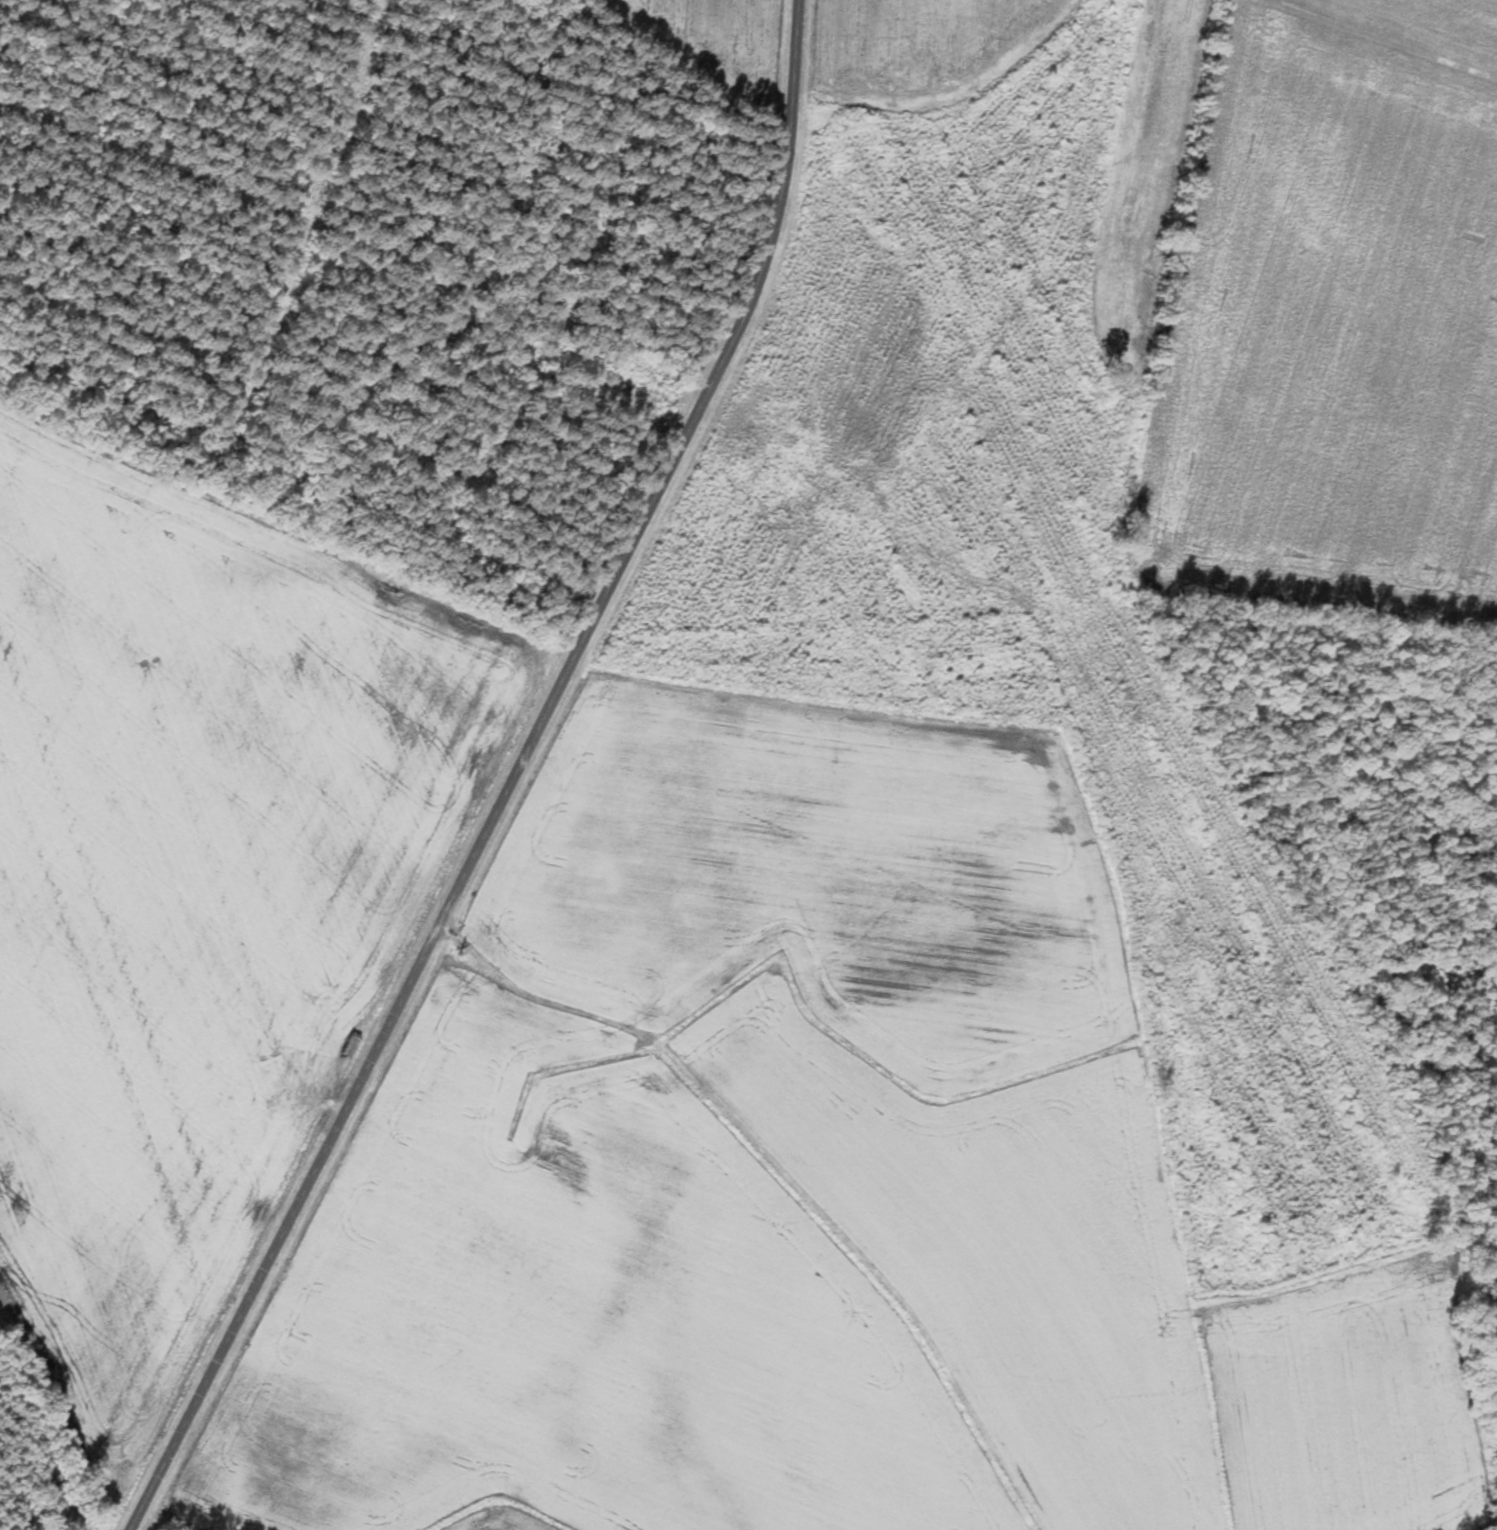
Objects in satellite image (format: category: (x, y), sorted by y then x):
road: (504, 775)

